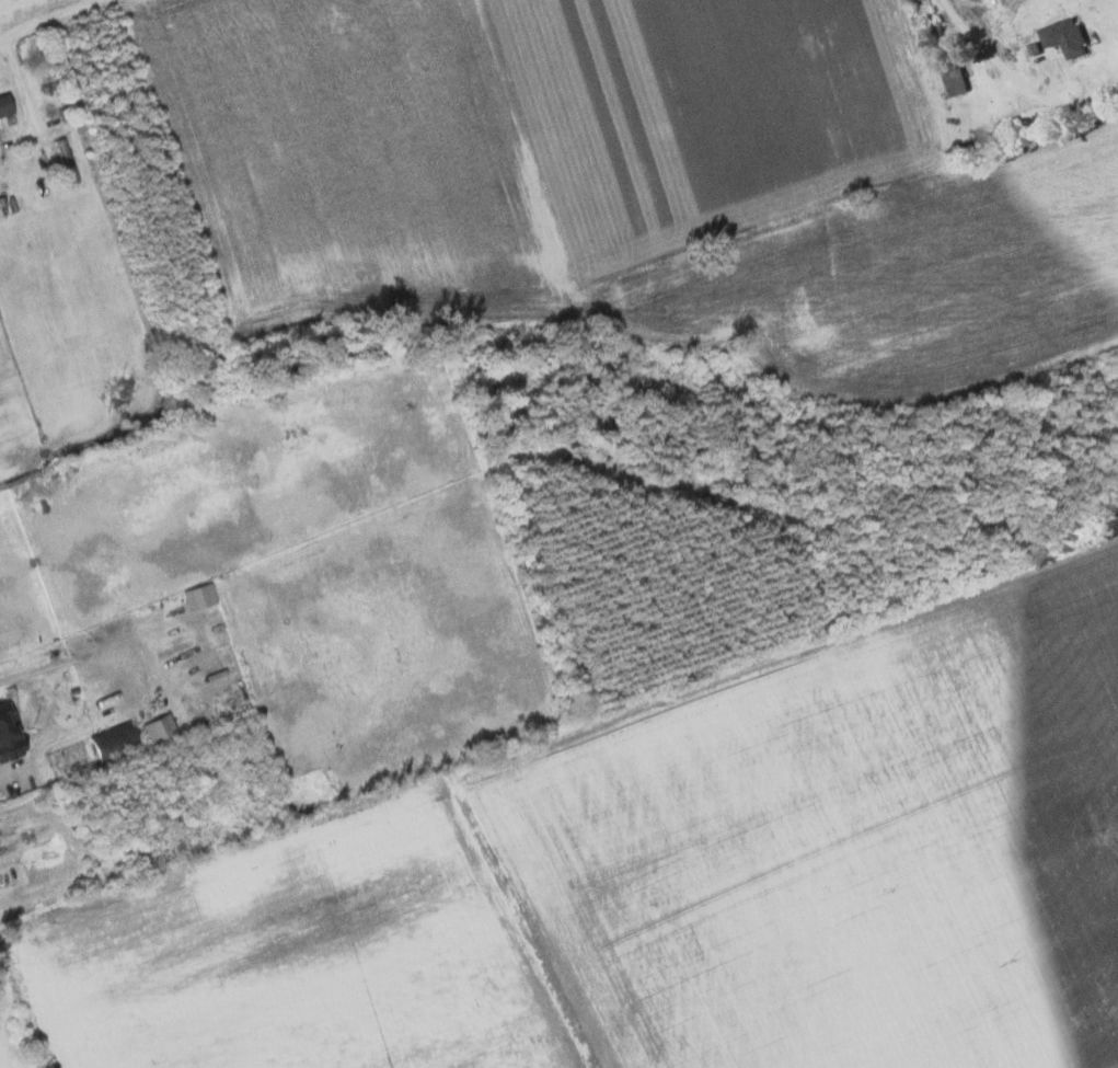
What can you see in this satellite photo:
road: (53, 19)
building: (1063, 36)
road: (1016, 73)
building: (953, 79)
road: (24, 88)
building: (3, 107)
building: (62, 165)
road: (560, 737)
building: (7, 738)
building: (111, 742)
road: (3, 773)

